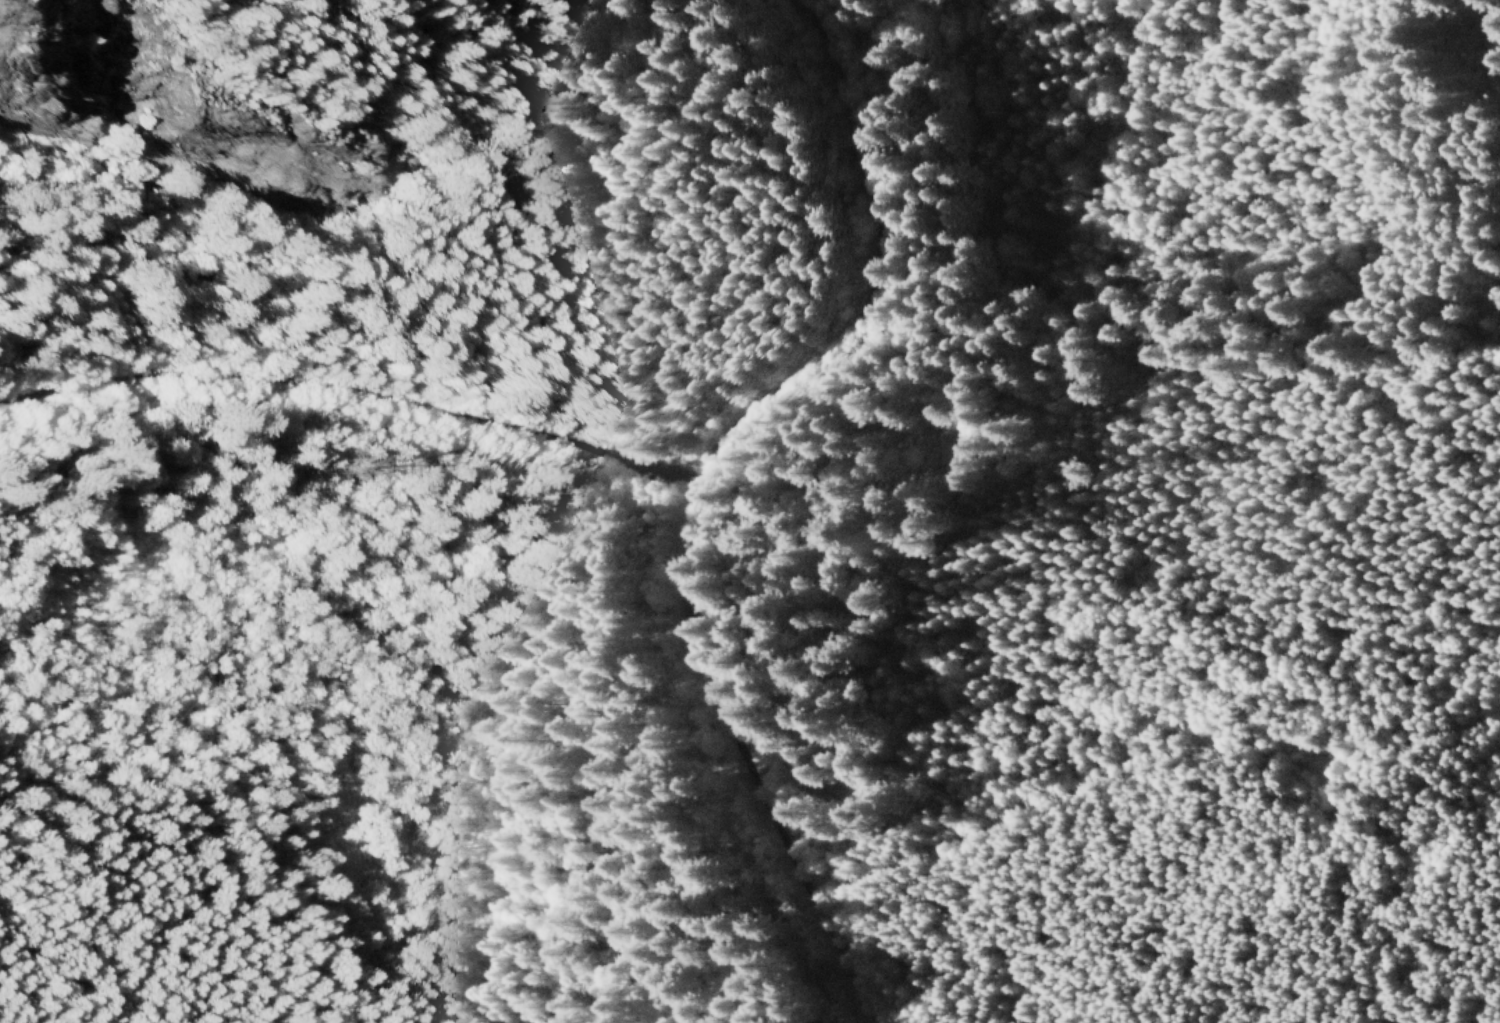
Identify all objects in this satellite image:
road: (685, 344)
road: (351, 384)
parking lot: (651, 471)
road: (694, 484)

